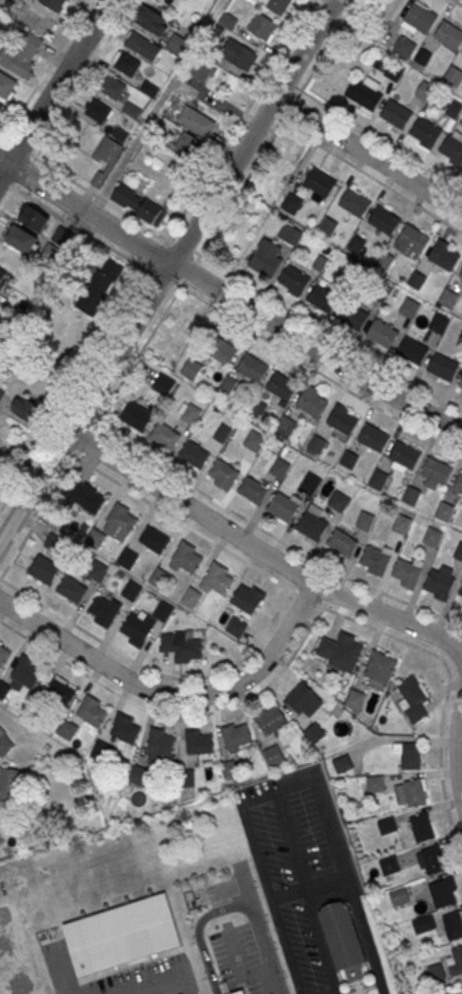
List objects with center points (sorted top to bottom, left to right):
road: (458, 2)
building: (56, 4)
building: (278, 5)
building: (420, 17)
building: (152, 20)
building: (261, 27)
building: (449, 35)
building: (176, 45)
building: (142, 46)
road: (326, 48)
building: (404, 48)
building: (22, 54)
building: (238, 55)
building: (422, 58)
building: (127, 64)
building: (202, 70)
road: (45, 71)
building: (395, 71)
building: (453, 77)
road: (82, 80)
road: (290, 84)
building: (6, 85)
road: (54, 88)
building: (112, 88)
building: (366, 97)
road: (159, 106)
road: (291, 106)
building: (1, 107)
building: (454, 109)
building: (132, 110)
building: (97, 111)
road: (271, 114)
building: (396, 115)
road: (238, 120)
building: (195, 121)
building: (425, 132)
road: (378, 137)
road: (4, 138)
road: (0, 143)
building: (186, 144)
road: (19, 146)
building: (453, 149)
road: (368, 155)
building: (106, 159)
road: (26, 171)
road: (368, 174)
road: (4, 180)
building: (320, 183)
road: (240, 188)
road: (102, 197)
road: (10, 198)
building: (354, 203)
building: (291, 204)
building: (139, 205)
building: (33, 218)
building: (384, 221)
building: (330, 225)
road: (81, 227)
building: (290, 235)
building: (21, 239)
building: (411, 242)
building: (356, 245)
road: (184, 246)
road: (158, 253)
building: (266, 257)
building: (443, 257)
building: (385, 262)
road: (166, 270)
road: (191, 270)
building: (350, 275)
building: (461, 275)
road: (165, 276)
building: (3, 277)
building: (294, 280)
building: (416, 281)
building: (99, 287)
building: (382, 293)
road: (229, 296)
building: (323, 299)
building: (449, 299)
building: (409, 309)
building: (353, 317)
building: (438, 324)
building: (5, 330)
road: (326, 332)
building: (382, 334)
building: (221, 351)
building: (412, 352)
road: (137, 354)
building: (443, 367)
building: (253, 368)
road: (316, 369)
building: (191, 370)
building: (460, 384)
building: (164, 385)
building: (282, 386)
road: (75, 387)
building: (312, 404)
building: (257, 409)
building: (27, 411)
building: (192, 414)
building: (136, 415)
road: (83, 417)
building: (342, 422)
building: (286, 426)
building: (165, 436)
road: (85, 438)
building: (374, 439)
building: (254, 441)
building: (316, 445)
road: (64, 448)
building: (194, 455)
building: (405, 456)
building: (349, 461)
building: (280, 469)
building: (436, 471)
building: (223, 474)
building: (378, 480)
building: (310, 483)
building: (458, 484)
building: (253, 491)
building: (83, 495)
building: (412, 496)
building: (339, 502)
building: (282, 509)
road: (39, 512)
building: (444, 512)
road: (182, 520)
building: (365, 522)
building: (119, 523)
building: (402, 525)
building: (312, 526)
road: (269, 531)
building: (433, 537)
building: (96, 540)
building: (154, 541)
building: (54, 543)
building: (342, 544)
road: (260, 552)
building: (459, 552)
building: (127, 559)
building: (187, 560)
building: (375, 561)
building: (44, 570)
building: (98, 572)
building: (407, 574)
building: (159, 578)
road: (296, 578)
building: (218, 579)
building: (439, 585)
building: (72, 590)
building: (132, 590)
road: (329, 595)
building: (460, 595)
road: (305, 596)
building: (192, 598)
building: (247, 600)
building: (105, 611)
building: (163, 612)
building: (236, 628)
building: (136, 631)
building: (182, 646)
building: (340, 650)
building: (4, 656)
building: (380, 667)
road: (156, 671)
building: (27, 673)
road: (447, 689)
building: (60, 692)
road: (169, 694)
building: (411, 697)
building: (304, 700)
building: (355, 700)
building: (92, 711)
road: (177, 712)
building: (271, 721)
building: (126, 729)
building: (236, 738)
building: (198, 743)
building: (5, 746)
building: (160, 746)
road: (456, 754)
building: (273, 756)
building: (411, 757)
building: (342, 764)
building: (375, 785)
building: (9, 788)
building: (414, 793)
building: (388, 827)
building: (421, 828)
building: (432, 861)
building: (389, 866)
parking lot: (299, 867)
building: (444, 894)
building: (399, 897)
road: (232, 906)
road: (360, 922)
building: (425, 926)
building: (453, 926)
building: (122, 936)
building: (344, 939)
road: (325, 951)
building: (13, 954)
parking lot: (238, 959)
building: (458, 959)
road: (61, 973)
parking lot: (121, 975)
road: (377, 980)
road: (156, 986)
road: (358, 986)
road: (359, 988)
road: (458, 992)
building: (242, 993)

